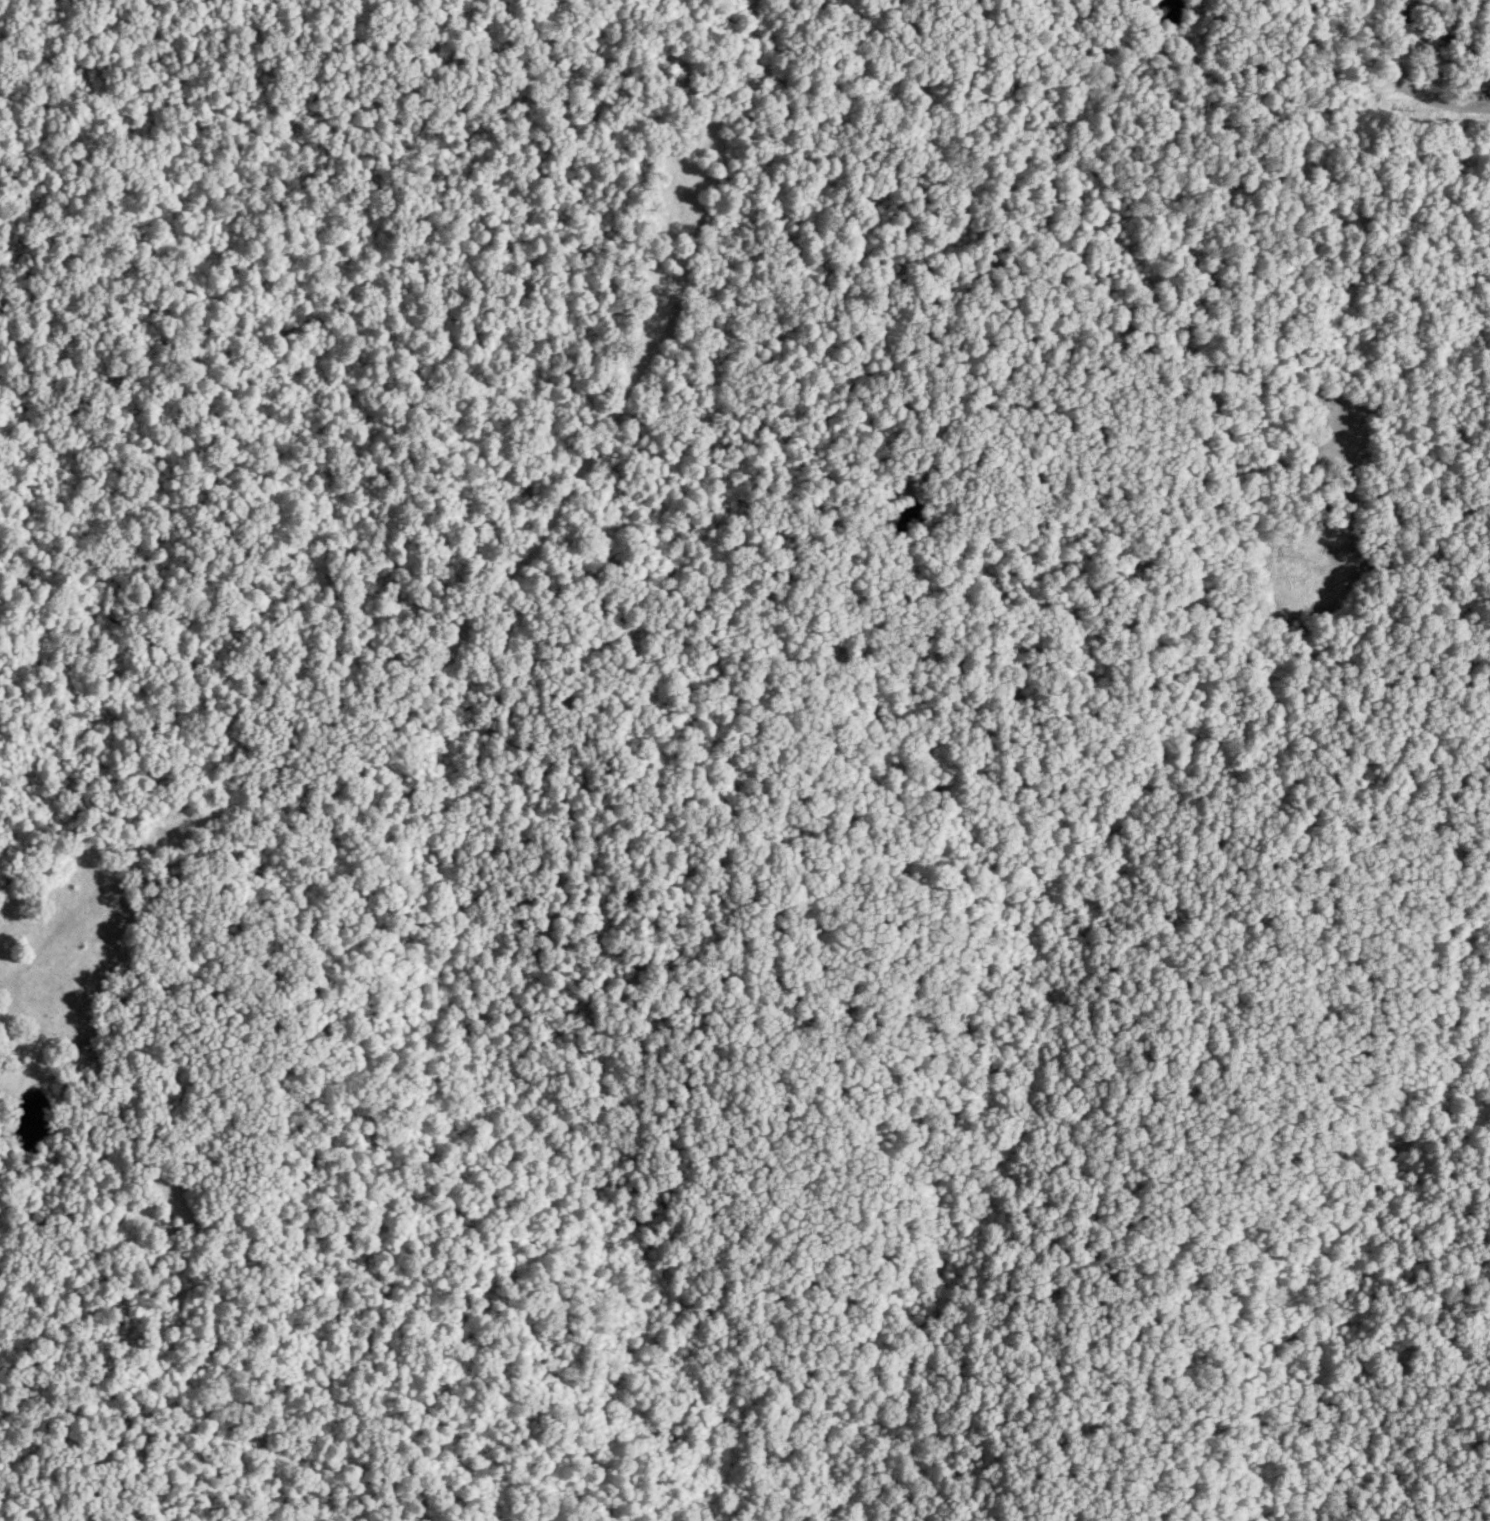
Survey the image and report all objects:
road: (1397, 45)
road: (1439, 96)

